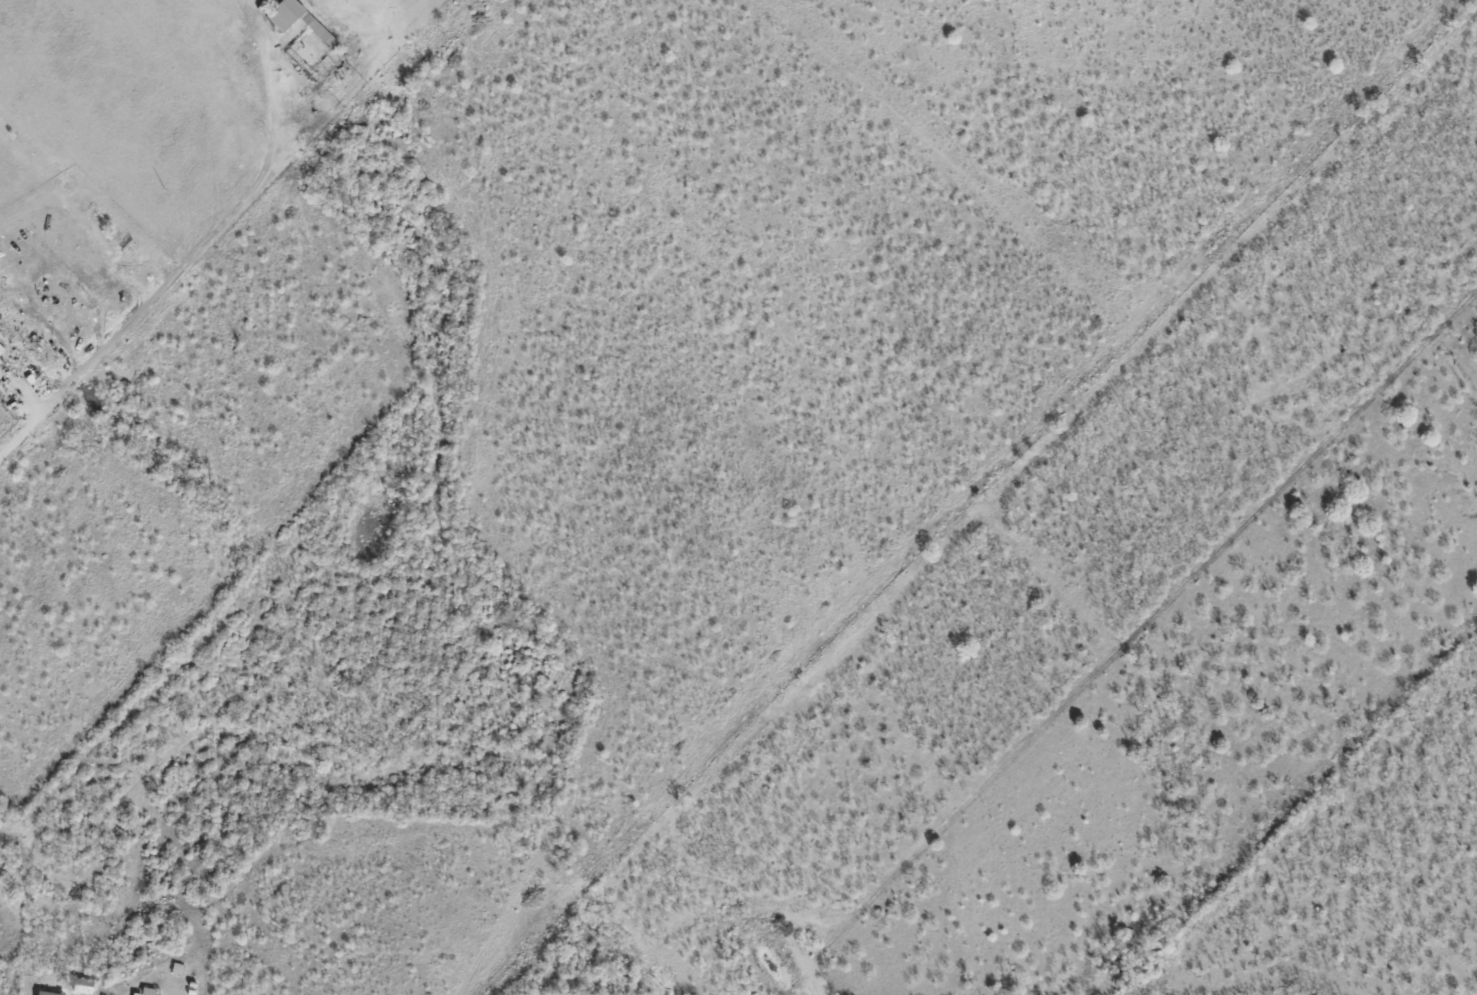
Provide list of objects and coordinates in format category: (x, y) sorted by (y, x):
building: (283, 13)
road: (204, 246)
road: (26, 432)
building: (81, 986)
building: (145, 991)
building: (47, 993)

